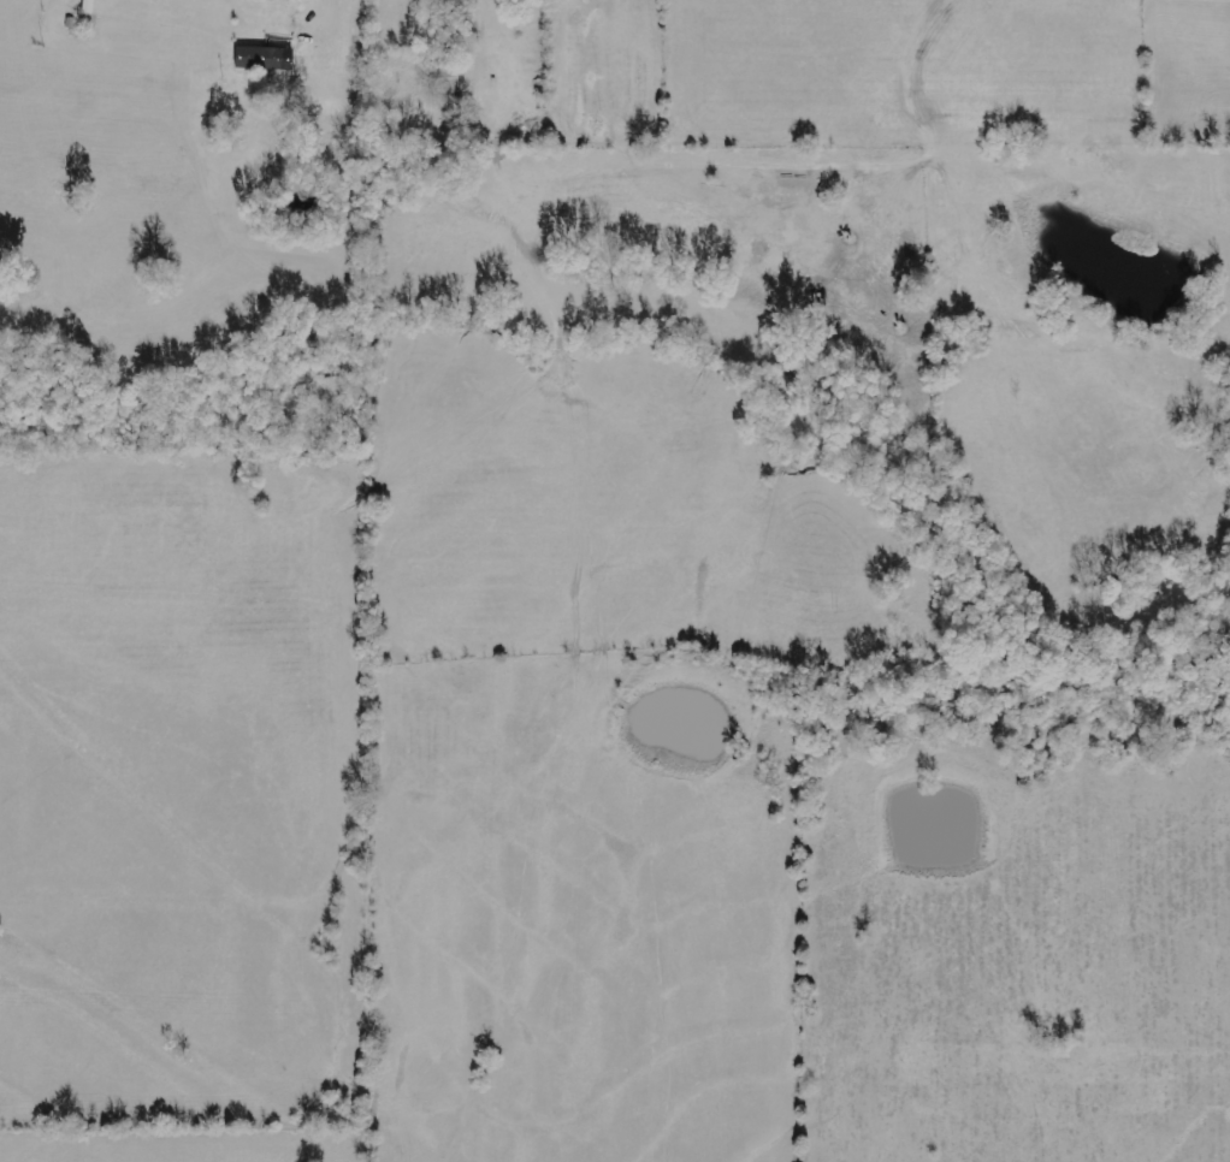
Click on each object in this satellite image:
building: (264, 58)

